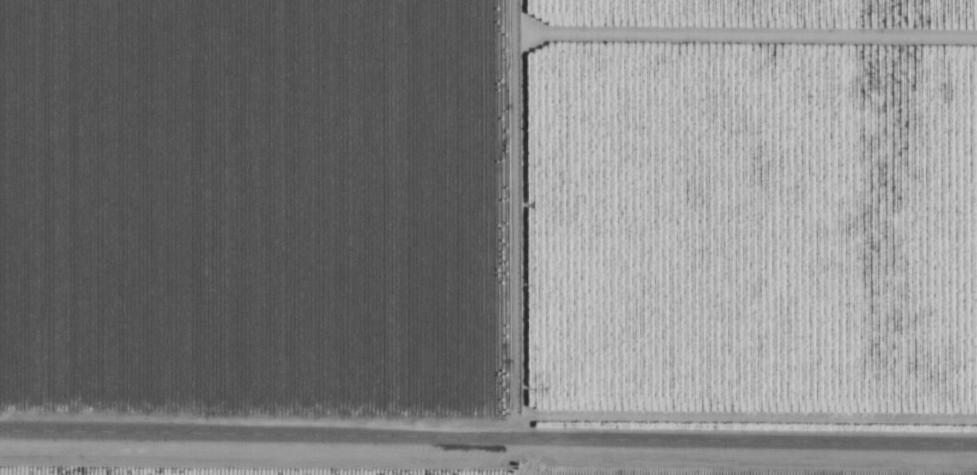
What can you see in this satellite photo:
road: (518, 19)
road: (519, 238)
road: (488, 436)

